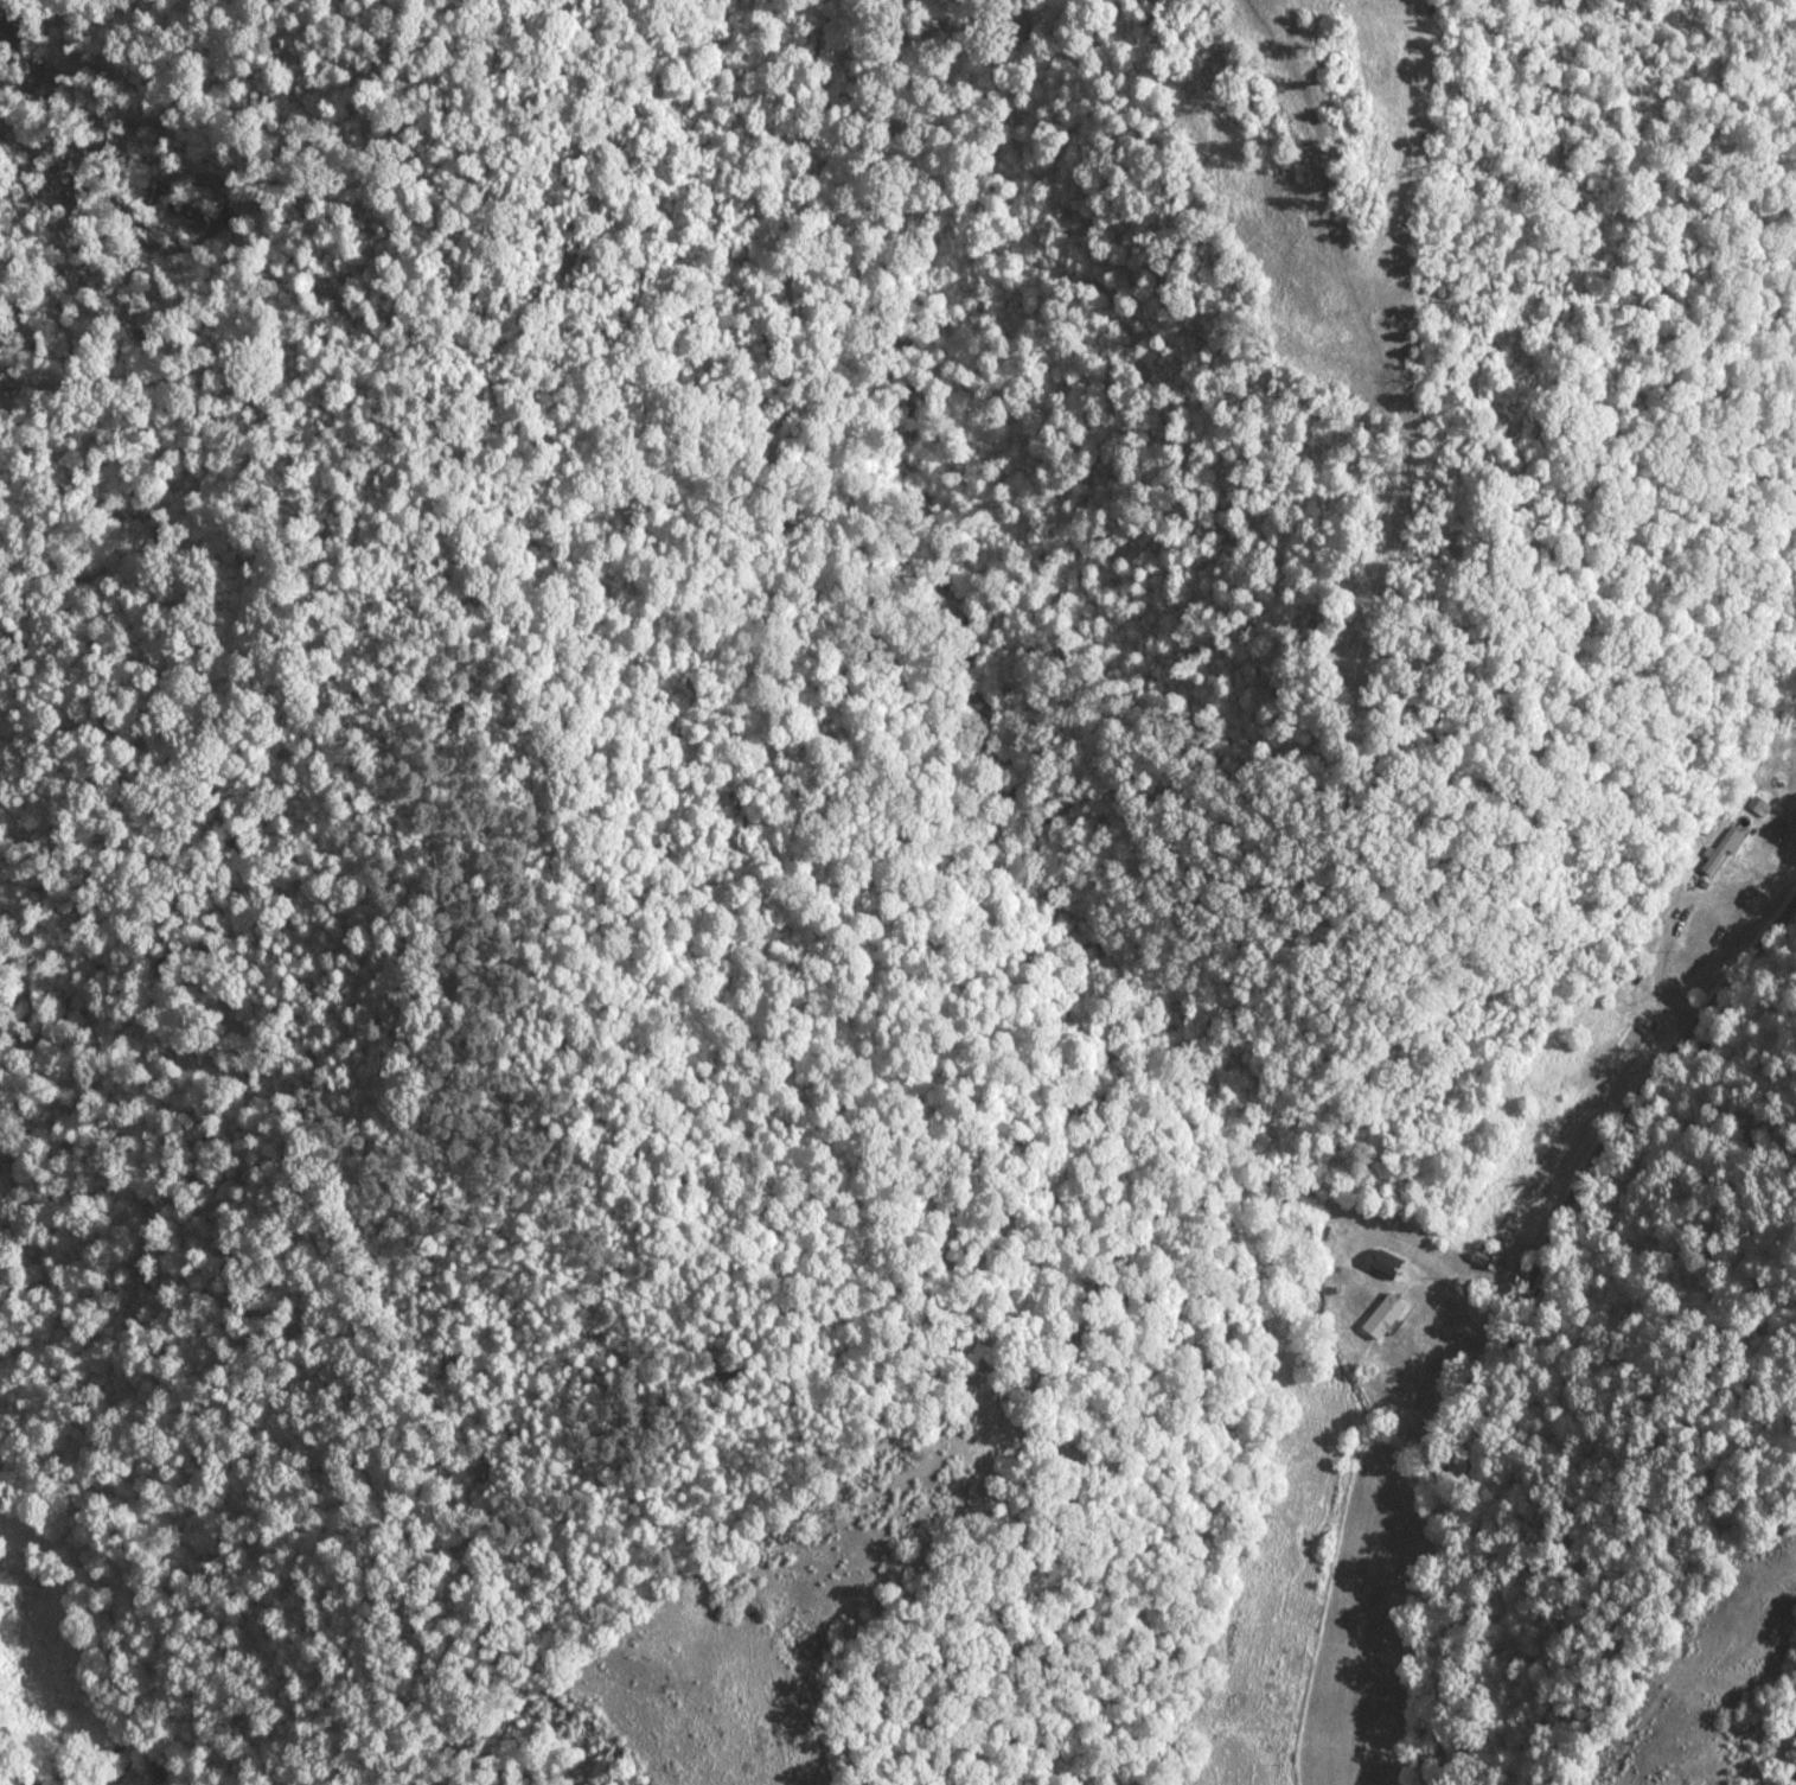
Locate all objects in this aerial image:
building: (1382, 1266)
road: (1523, 1303)
building: (1382, 1317)

